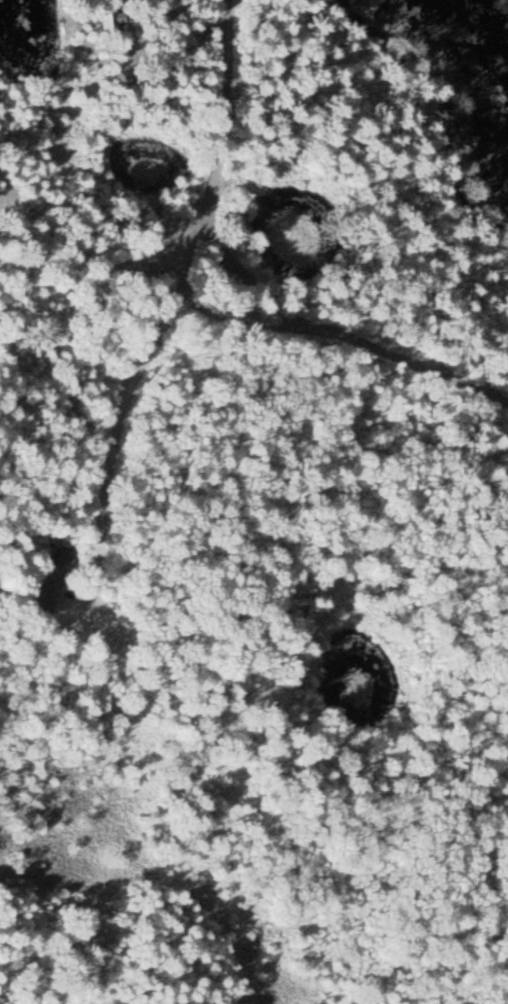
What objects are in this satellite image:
road: (245, 279)
building: (63, 558)
building: (44, 597)

